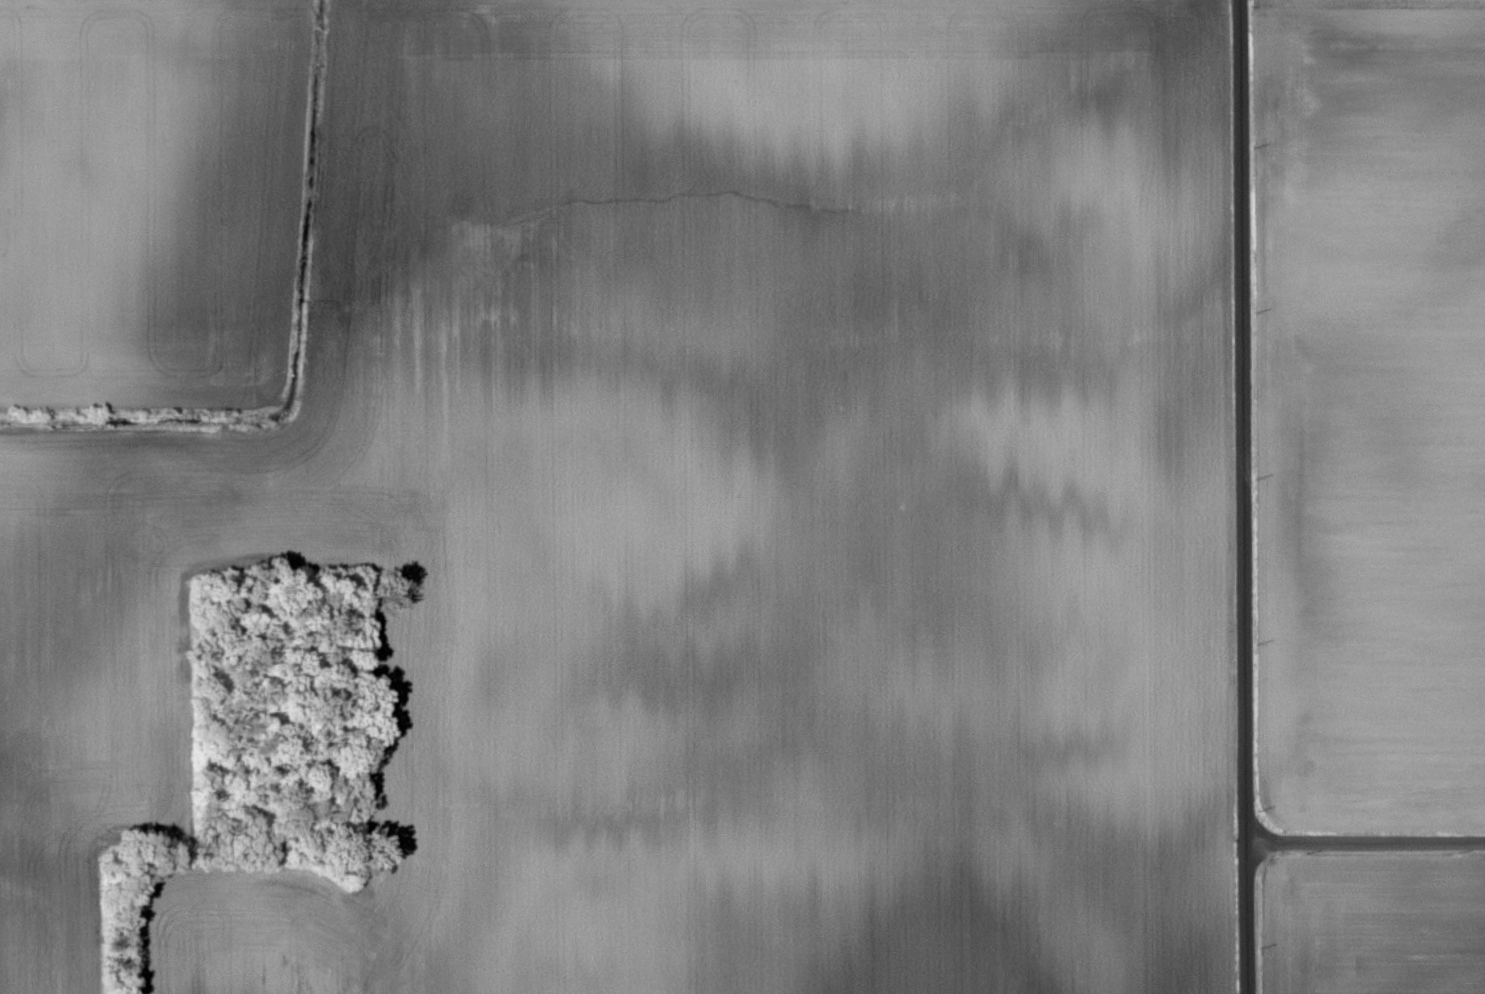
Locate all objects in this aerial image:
road: (1244, 496)
road: (1367, 844)

